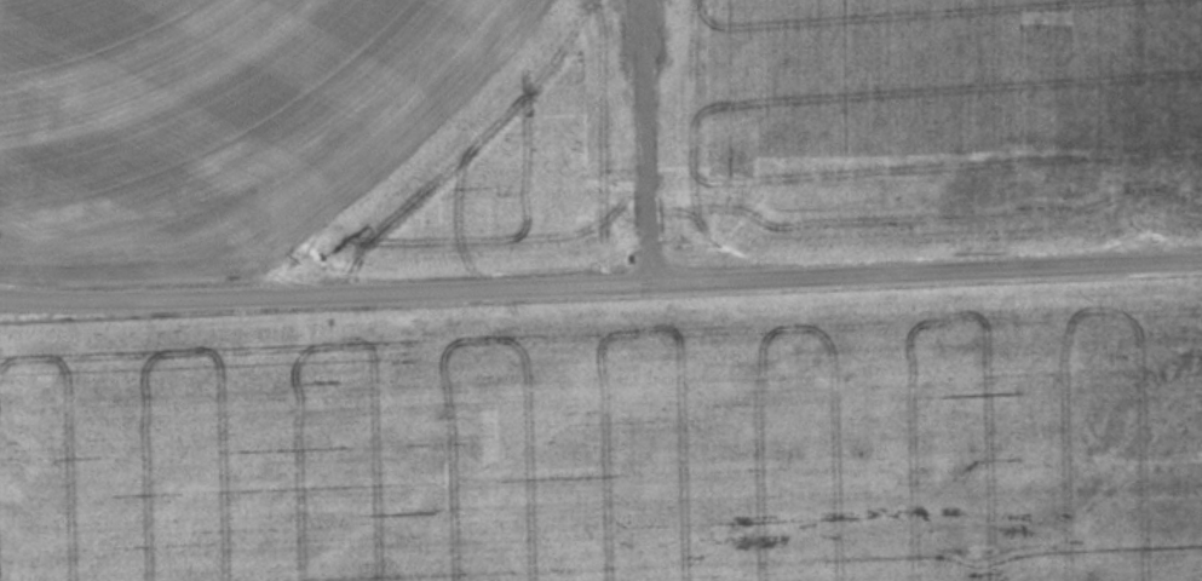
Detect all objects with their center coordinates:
road: (643, 142)
road: (600, 286)

